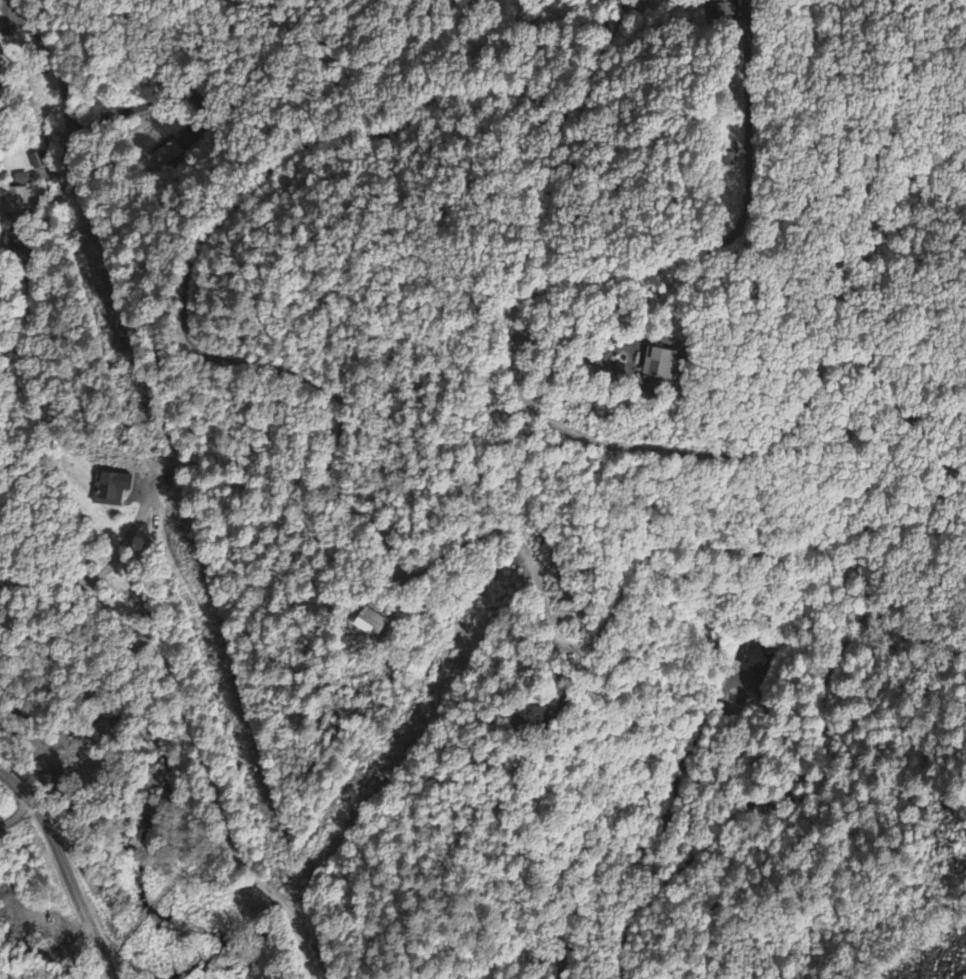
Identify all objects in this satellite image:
building: (720, 9)
building: (20, 181)
road: (672, 264)
building: (659, 367)
road: (794, 423)
building: (110, 490)
road: (34, 523)
road: (462, 546)
building: (370, 623)
building: (757, 658)
road: (64, 870)

